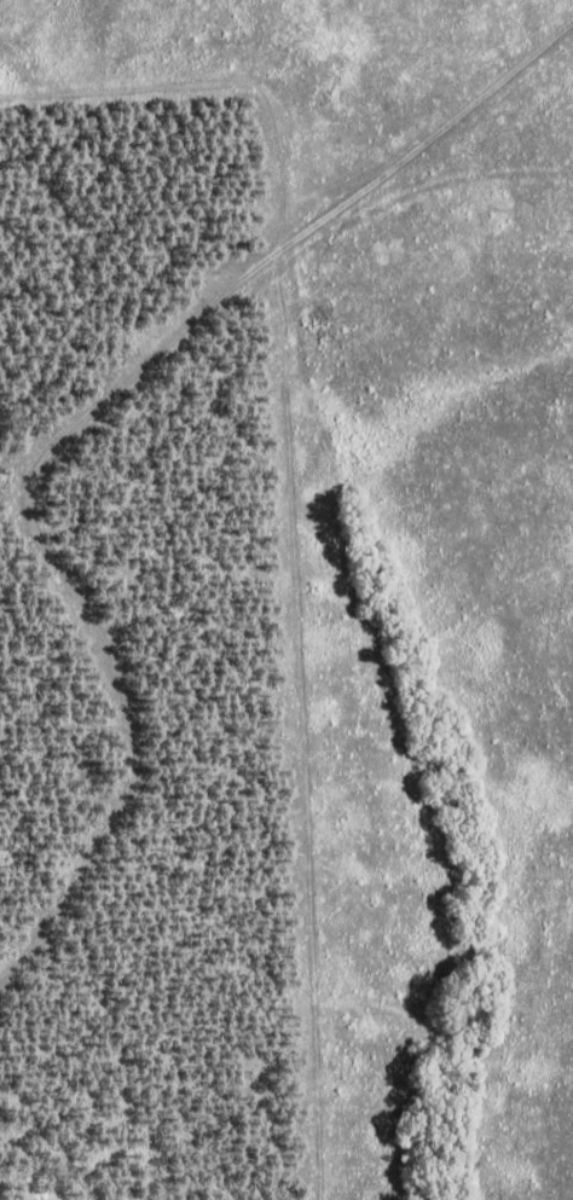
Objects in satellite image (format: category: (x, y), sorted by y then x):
road: (74, 392)

